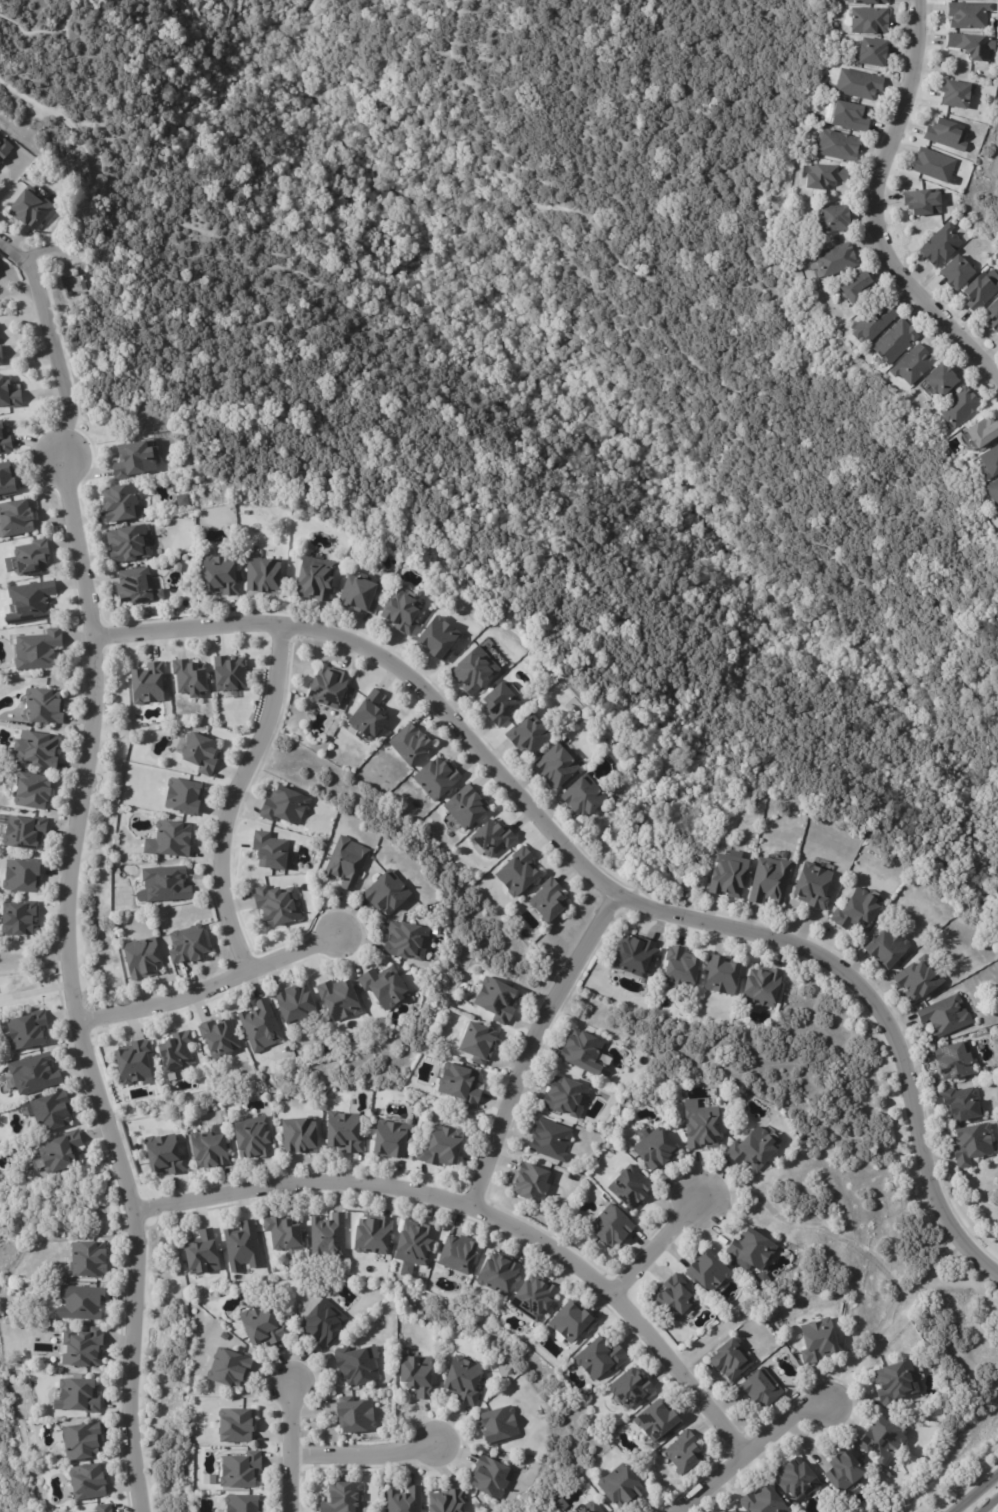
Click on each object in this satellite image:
building: (867, 1)
building: (967, 14)
building: (868, 19)
building: (971, 44)
building: (870, 51)
building: (857, 83)
building: (954, 93)
building: (848, 116)
building: (945, 134)
building: (3, 145)
building: (837, 145)
building: (932, 165)
building: (822, 174)
building: (921, 202)
building: (26, 205)
road: (875, 210)
building: (831, 217)
building: (940, 245)
road: (47, 252)
building: (835, 259)
building: (954, 272)
building: (855, 288)
building: (979, 290)
building: (993, 315)
building: (873, 322)
building: (997, 338)
building: (894, 341)
road: (51, 344)
building: (1, 355)
building: (912, 364)
building: (939, 379)
building: (9, 395)
building: (958, 407)
building: (982, 432)
building: (4, 440)
building: (134, 459)
building: (989, 463)
building: (6, 481)
building: (993, 492)
building: (120, 504)
building: (14, 516)
building: (126, 542)
building: (30, 555)
building: (261, 575)
building: (219, 576)
building: (315, 580)
building: (132, 585)
building: (357, 593)
building: (27, 601)
building: (400, 609)
building: (436, 638)
building: (37, 650)
building: (472, 669)
building: (229, 675)
building: (189, 677)
building: (146, 683)
building: (327, 687)
building: (500, 703)
building: (44, 708)
building: (368, 716)
building: (527, 736)
building: (409, 744)
building: (34, 748)
building: (197, 752)
building: (557, 765)
building: (436, 778)
building: (32, 790)
building: (181, 795)
building: (582, 797)
road: (232, 798)
building: (283, 804)
building: (465, 806)
building: (21, 830)
building: (172, 837)
building: (490, 839)
building: (269, 850)
building: (346, 862)
building: (518, 872)
building: (18, 874)
road: (600, 875)
building: (726, 875)
building: (768, 879)
building: (163, 883)
building: (811, 885)
building: (684, 892)
building: (385, 895)
building: (546, 901)
building: (275, 905)
building: (856, 909)
building: (18, 918)
building: (405, 940)
building: (187, 944)
building: (886, 947)
building: (632, 954)
building: (141, 957)
road: (33, 961)
building: (679, 969)
building: (721, 976)
building: (917, 978)
road: (216, 986)
building: (383, 986)
building: (760, 986)
road: (70, 987)
road: (34, 991)
building: (337, 999)
building: (496, 1001)
building: (295, 1005)
building: (944, 1015)
building: (259, 1025)
building: (28, 1029)
building: (216, 1036)
building: (475, 1042)
road: (538, 1043)
building: (579, 1049)
building: (174, 1050)
building: (953, 1060)
building: (133, 1062)
building: (30, 1073)
building: (458, 1084)
building: (564, 1097)
building: (961, 1103)
building: (50, 1110)
building: (702, 1127)
building: (341, 1132)
building: (299, 1136)
building: (250, 1138)
building: (388, 1140)
building: (548, 1140)
building: (970, 1143)
building: (440, 1146)
building: (207, 1148)
building: (653, 1148)
building: (752, 1148)
building: (56, 1151)
building: (163, 1155)
building: (533, 1185)
building: (628, 1187)
road: (484, 1212)
building: (609, 1227)
building: (282, 1233)
building: (327, 1236)
building: (371, 1236)
building: (160, 1243)
building: (413, 1243)
building: (241, 1246)
road: (657, 1248)
building: (749, 1249)
building: (200, 1252)
building: (457, 1255)
building: (87, 1259)
building: (705, 1272)
building: (497, 1274)
building: (673, 1298)
building: (530, 1299)
building: (79, 1303)
building: (321, 1322)
building: (571, 1322)
building: (260, 1327)
building: (817, 1341)
building: (81, 1348)
building: (599, 1357)
building: (728, 1360)
building: (355, 1365)
building: (227, 1369)
building: (416, 1376)
building: (460, 1381)
building: (893, 1381)
building: (629, 1389)
building: (759, 1389)
building: (76, 1396)
building: (353, 1416)
building: (656, 1421)
building: (497, 1425)
building: (233, 1426)
building: (880, 1439)
building: (79, 1441)
road: (285, 1442)
road: (360, 1443)
road: (753, 1449)
building: (682, 1453)
building: (843, 1469)
building: (238, 1471)
building: (488, 1478)
building: (794, 1479)
building: (86, 1482)
building: (618, 1486)
road: (972, 1491)
building: (340, 1498)
building: (402, 1500)
building: (762, 1501)
building: (446, 1502)
building: (239, 1504)
road: (990, 1505)
building: (102, 1508)
building: (587, 1508)
building: (725, 1511)
building: (734, 1511)

